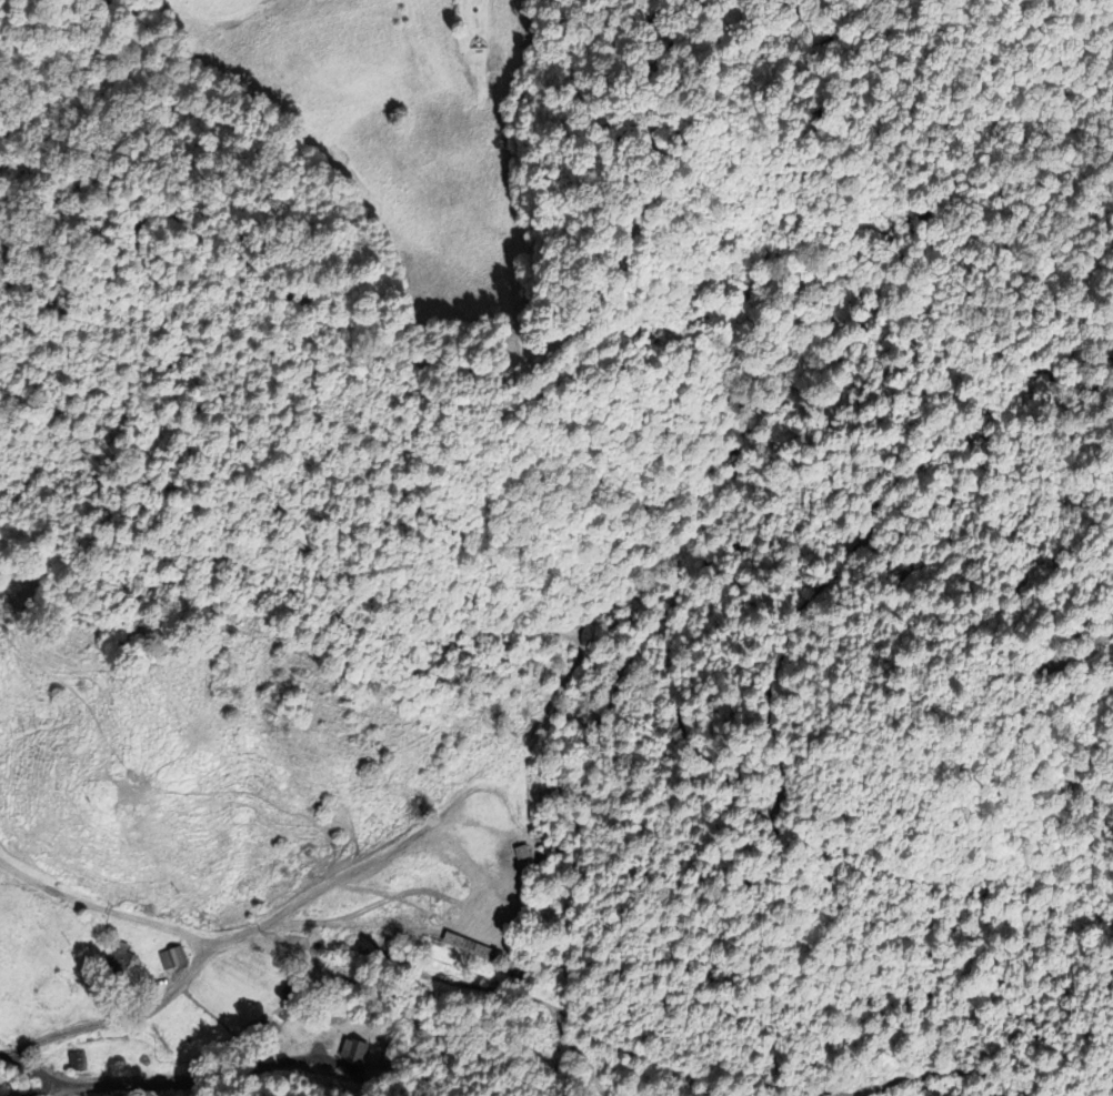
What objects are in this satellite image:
road: (319, 888)
road: (101, 907)
building: (472, 949)
building: (250, 956)
building: (173, 958)
building: (118, 959)
road: (113, 1020)
building: (353, 1053)
building: (79, 1063)

